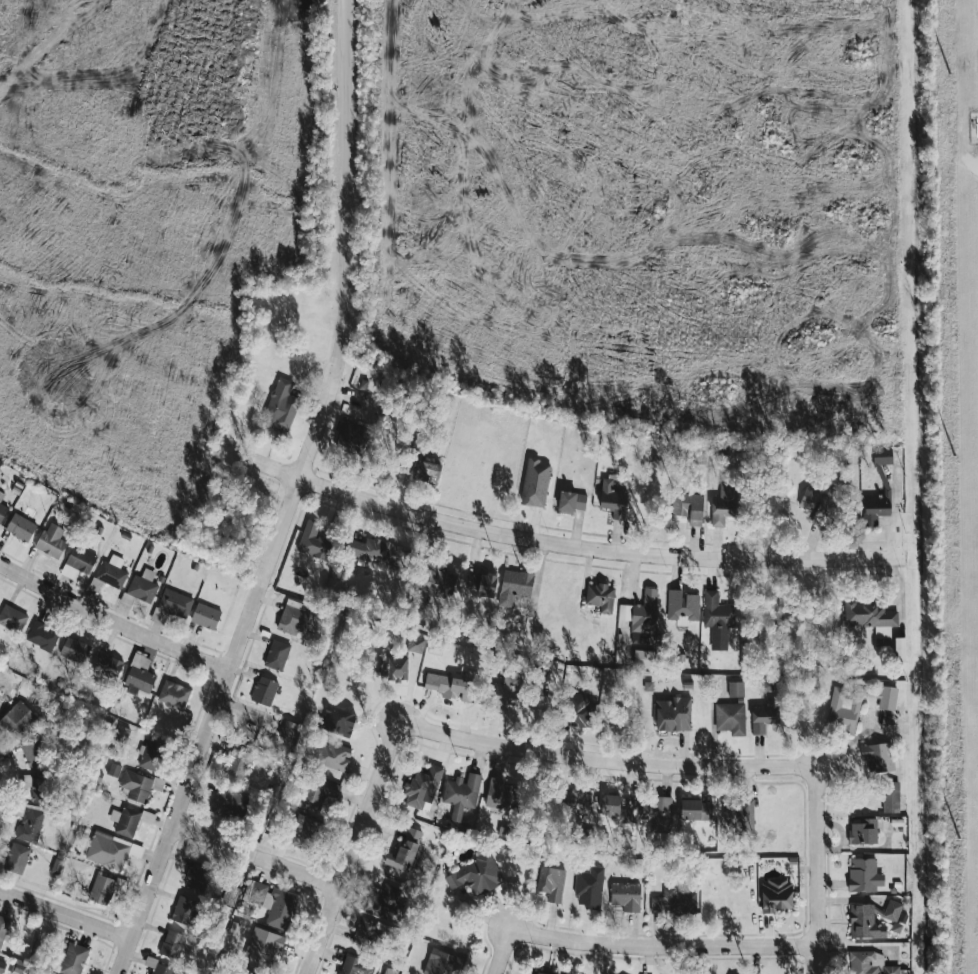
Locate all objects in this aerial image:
power tower: (949, 74)
building: (281, 406)
building: (351, 437)
building: (883, 456)
power tower: (955, 456)
building: (427, 471)
building: (535, 483)
building: (1, 495)
road: (290, 498)
building: (613, 499)
building: (571, 502)
building: (817, 503)
building: (724, 504)
building: (689, 507)
building: (875, 508)
building: (2, 512)
building: (20, 527)
building: (52, 541)
building: (314, 541)
road: (567, 546)
building: (378, 551)
building: (78, 562)
building: (437, 582)
building: (472, 582)
building: (487, 585)
building: (143, 586)
building: (515, 586)
building: (600, 597)
building: (175, 603)
building: (683, 606)
building: (641, 615)
building: (205, 616)
building: (871, 617)
building: (12, 618)
building: (294, 618)
road: (110, 622)
building: (42, 636)
building: (416, 644)
building: (75, 650)
building: (277, 655)
building: (643, 658)
building: (108, 665)
building: (395, 669)
building: (140, 675)
building: (453, 685)
building: (735, 689)
building: (264, 691)
building: (506, 693)
building: (174, 695)
building: (856, 705)
building: (578, 710)
building: (673, 714)
building: (764, 715)
building: (730, 718)
building: (17, 720)
building: (336, 721)
building: (288, 730)
building: (34, 753)
building: (151, 754)
building: (333, 756)
building: (878, 757)
road: (605, 760)
building: (238, 763)
building: (34, 786)
building: (136, 786)
building: (422, 786)
building: (315, 792)
building: (461, 794)
building: (501, 795)
building: (892, 797)
building: (229, 803)
building: (579, 805)
building: (615, 809)
building: (696, 810)
building: (732, 813)
building: (658, 814)
building: (126, 821)
building: (863, 830)
building: (307, 832)
power tower: (960, 841)
road: (350, 848)
building: (108, 850)
building: (405, 851)
road: (254, 853)
building: (17, 858)
road: (815, 871)
building: (197, 875)
building: (476, 875)
building: (864, 875)
building: (551, 883)
building: (590, 887)
building: (101, 889)
building: (230, 895)
building: (626, 896)
building: (777, 896)
building: (384, 900)
building: (674, 902)
building: (275, 904)
building: (184, 910)
building: (892, 910)
road: (64, 914)
building: (865, 922)
building: (3, 928)
building: (365, 932)
building: (172, 944)
building: (263, 947)
road: (661, 947)
road: (501, 952)
building: (73, 959)
building: (866, 962)
building: (443, 963)
building: (356, 966)
building: (2, 967)
building: (891, 970)
building: (248, 972)
building: (534, 972)
building: (384, 973)

